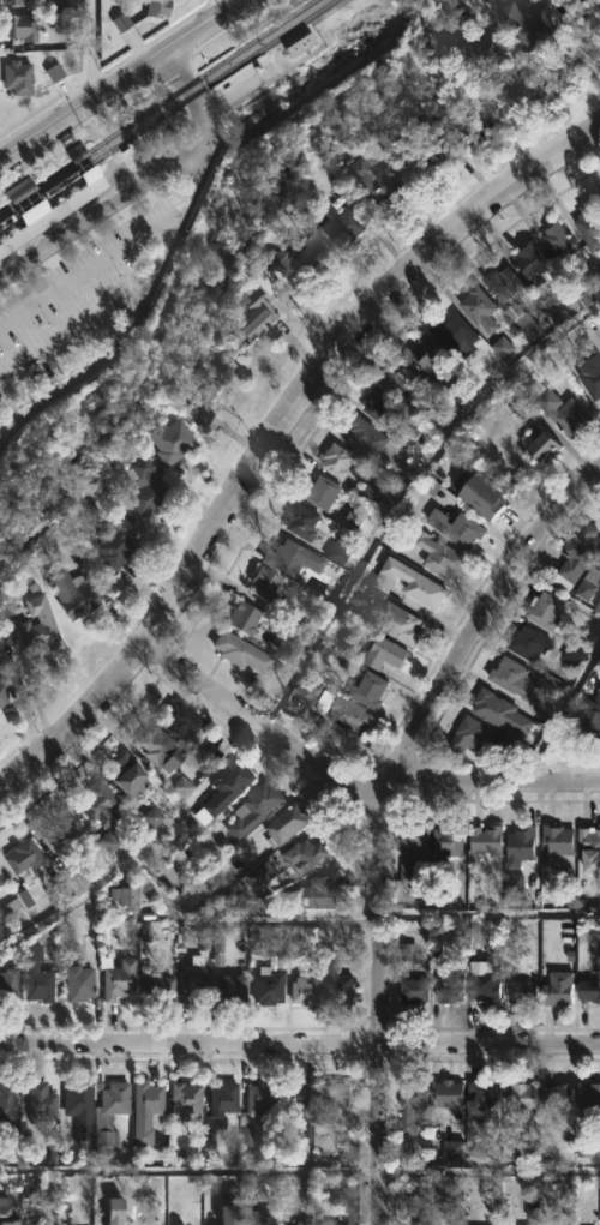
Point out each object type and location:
building: (14, 2)
road: (229, 2)
building: (76, 6)
building: (156, 7)
building: (598, 7)
building: (120, 22)
building: (528, 24)
road: (199, 25)
building: (19, 26)
building: (476, 38)
building: (302, 47)
road: (90, 49)
road: (104, 71)
building: (52, 73)
building: (16, 78)
railway: (210, 82)
road: (194, 97)
railway: (157, 103)
road: (82, 108)
road: (470, 108)
road: (72, 130)
railway: (83, 148)
building: (436, 154)
railway: (100, 169)
railway: (100, 174)
building: (377, 181)
railway: (43, 193)
building: (56, 214)
road: (101, 215)
building: (338, 222)
building: (587, 226)
building: (556, 244)
building: (301, 262)
building: (538, 265)
road: (26, 269)
road: (94, 269)
building: (504, 283)
parking lot: (76, 301)
building: (482, 310)
building: (262, 318)
road: (131, 322)
road: (77, 329)
building: (458, 335)
road: (330, 344)
building: (431, 354)
building: (588, 372)
building: (407, 383)
building: (211, 388)
building: (384, 408)
building: (560, 408)
building: (366, 437)
building: (172, 439)
building: (544, 444)
building: (338, 461)
building: (148, 485)
building: (322, 491)
building: (491, 498)
building: (302, 522)
building: (461, 527)
building: (119, 544)
building: (442, 556)
building: (580, 556)
building: (290, 558)
building: (593, 576)
building: (410, 583)
building: (266, 584)
building: (76, 594)
road: (481, 610)
building: (540, 610)
building: (245, 618)
building: (400, 624)
building: (41, 626)
building: (529, 643)
building: (244, 653)
building: (388, 655)
building: (518, 681)
building: (371, 690)
building: (5, 695)
building: (503, 713)
building: (353, 716)
road: (74, 717)
building: (589, 719)
building: (184, 720)
building: (480, 738)
building: (162, 750)
road: (349, 775)
building: (130, 776)
building: (182, 788)
building: (227, 792)
building: (101, 804)
building: (256, 810)
building: (287, 825)
building: (62, 830)
building: (560, 839)
building: (450, 840)
building: (488, 840)
building: (523, 841)
building: (592, 848)
building: (415, 851)
building: (306, 857)
building: (25, 867)
building: (1, 881)
building: (313, 894)
road: (492, 915)
building: (41, 975)
building: (118, 978)
building: (193, 978)
building: (338, 980)
building: (80, 983)
building: (488, 983)
building: (452, 984)
building: (10, 985)
building: (161, 987)
building: (269, 987)
building: (556, 989)
building: (233, 990)
building: (415, 990)
building: (587, 990)
building: (306, 991)
building: (521, 992)
road: (382, 1001)
road: (299, 1044)
building: (451, 1093)
building: (299, 1095)
building: (553, 1095)
building: (262, 1097)
building: (523, 1097)
building: (332, 1099)
building: (487, 1099)
building: (588, 1100)
building: (187, 1101)
building: (42, 1103)
building: (10, 1104)
building: (224, 1105)
building: (412, 1105)
building: (149, 1111)
building: (78, 1112)
building: (110, 1112)
building: (120, 1212)
building: (8, 1213)
building: (233, 1213)
building: (259, 1218)
building: (214, 1221)
building: (53, 1223)
building: (306, 1223)
building: (181, 1224)
building: (523, 1224)

